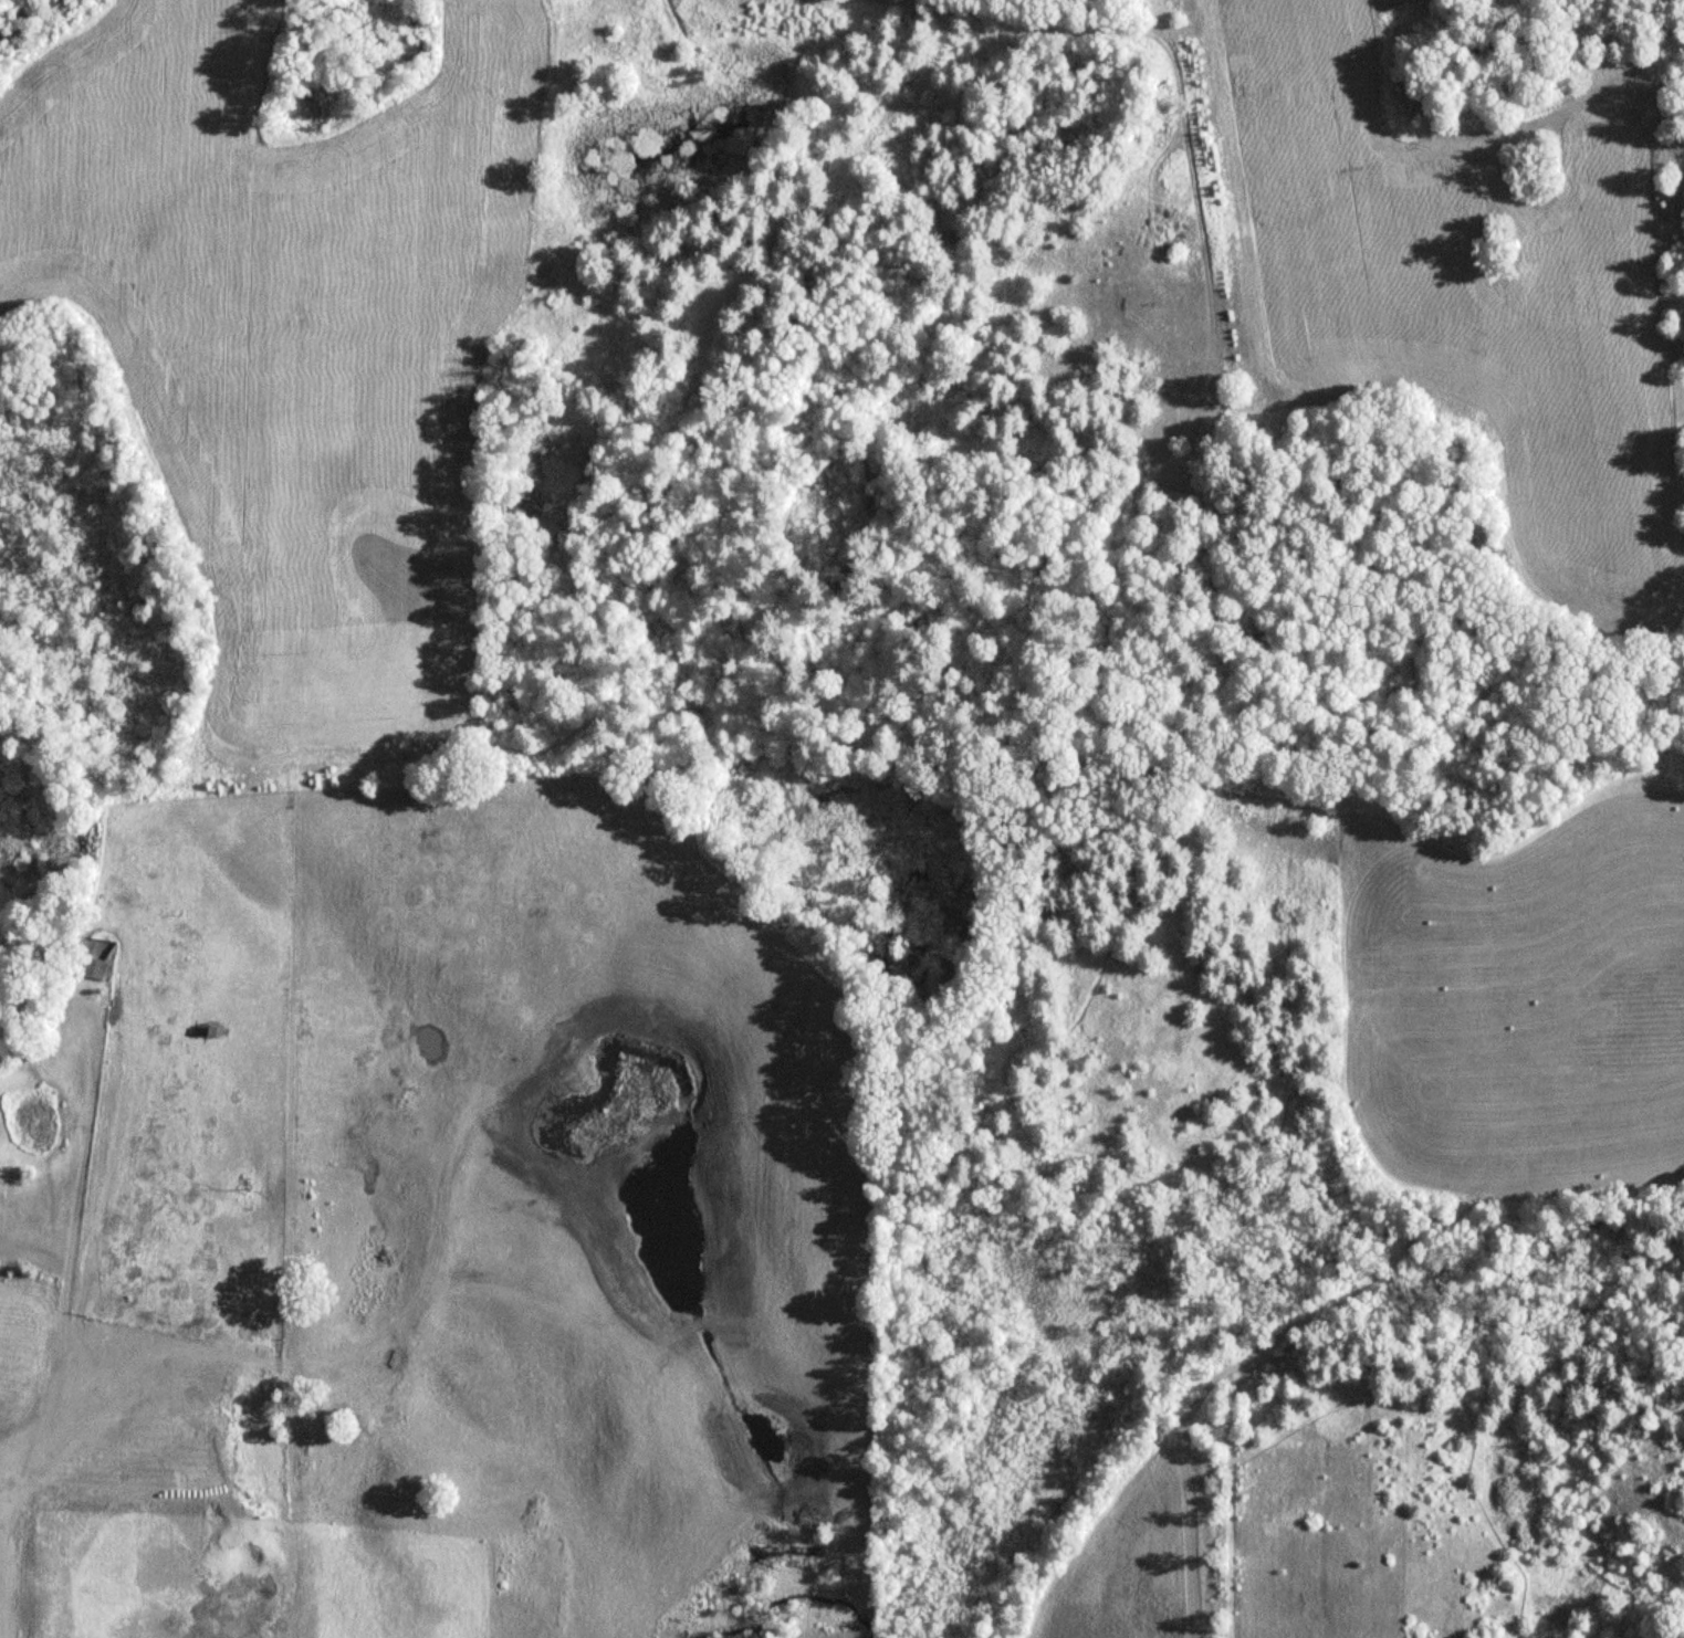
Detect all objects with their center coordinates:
building: (91, 968)

